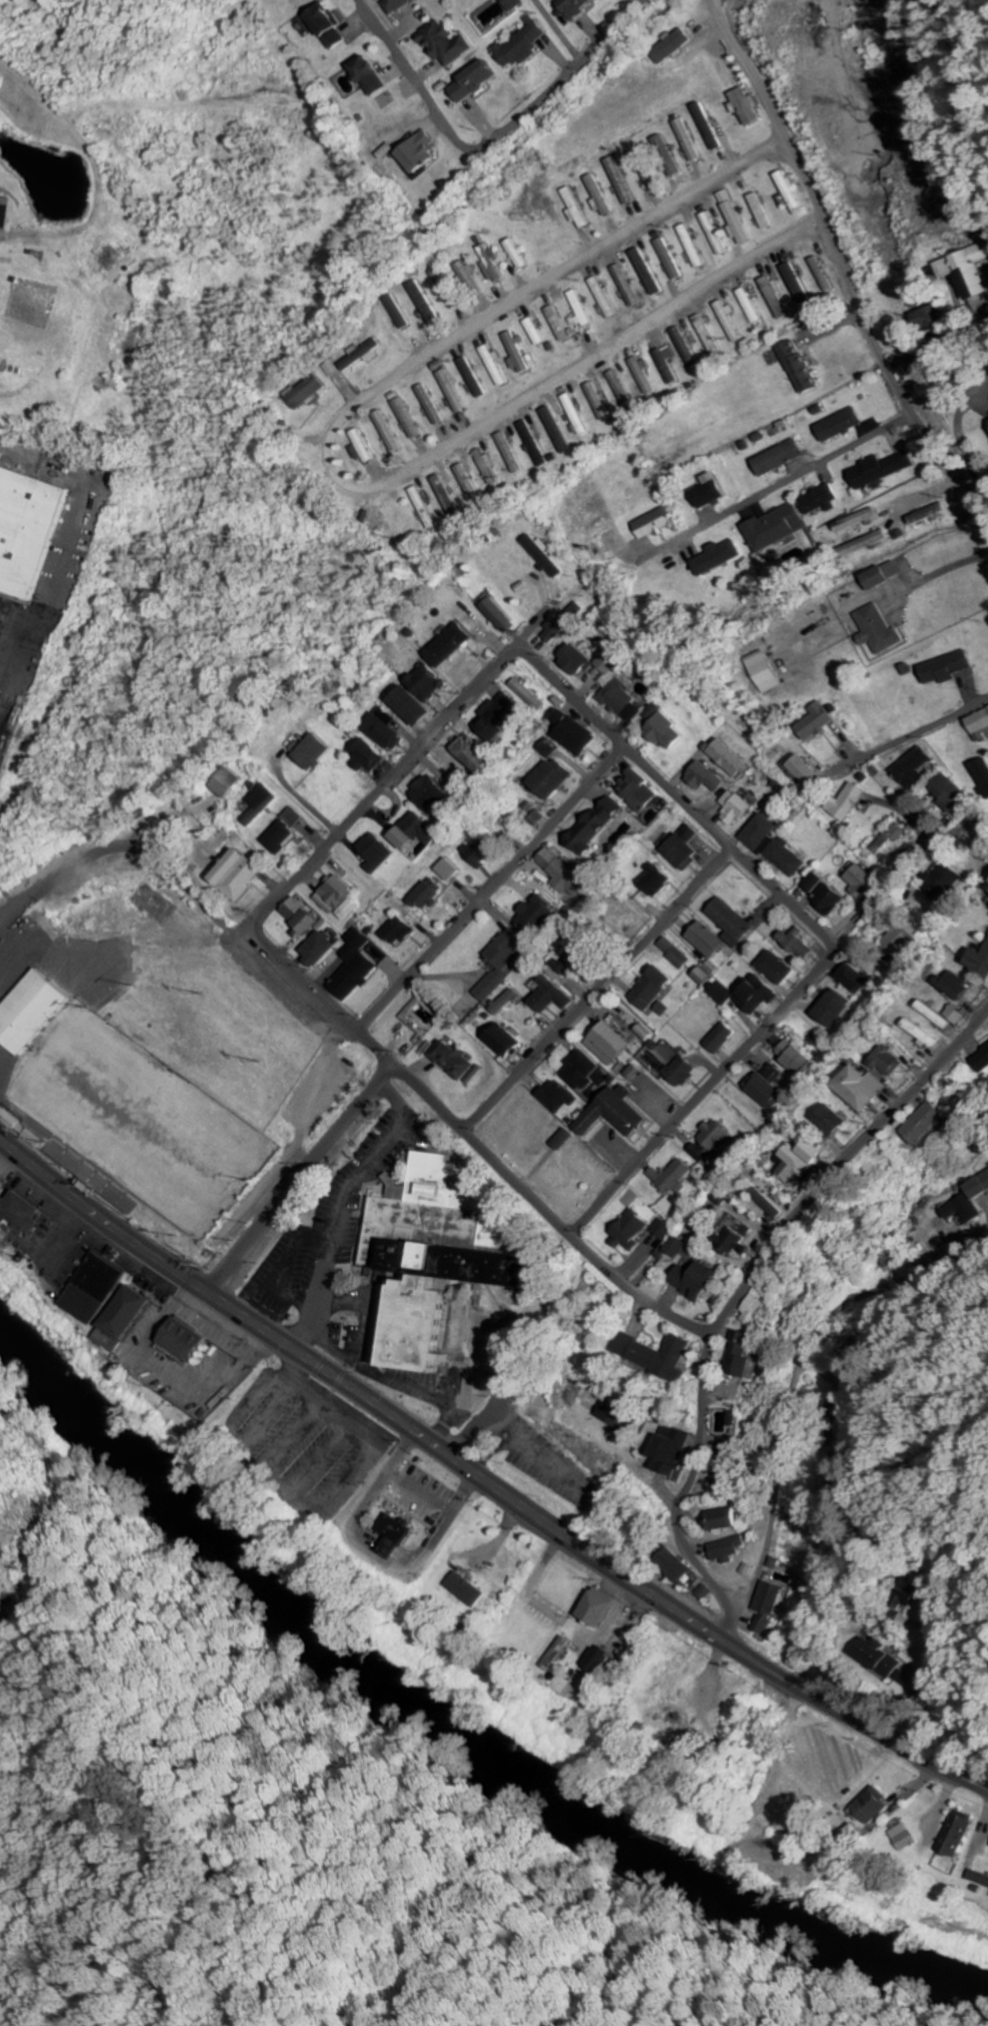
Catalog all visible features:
building: (515, 4)
building: (400, 5)
building: (578, 8)
building: (331, 26)
building: (448, 44)
building: (524, 46)
building: (676, 47)
building: (375, 77)
building: (478, 81)
building: (748, 108)
road: (511, 127)
building: (708, 128)
building: (689, 142)
building: (661, 144)
building: (425, 153)
building: (647, 171)
building: (623, 181)
building: (792, 192)
building: (600, 197)
building: (577, 208)
building: (761, 212)
building: (6, 213)
building: (736, 218)
building: (716, 235)
building: (694, 247)
building: (520, 255)
building: (671, 260)
building: (492, 265)
road: (839, 265)
building: (468, 271)
building: (967, 272)
building: (648, 273)
building: (823, 275)
building: (799, 285)
road: (535, 288)
building: (448, 291)
building: (606, 299)
building: (776, 299)
building: (751, 307)
building: (581, 309)
building: (399, 311)
building: (927, 317)
building: (729, 321)
building: (562, 327)
building: (537, 333)
building: (708, 336)
building: (686, 349)
building: (519, 354)
building: (363, 355)
building: (911, 363)
building: (668, 365)
road: (578, 367)
building: (496, 368)
building: (802, 370)
building: (473, 379)
building: (454, 392)
building: (310, 393)
building: (600, 403)
building: (432, 406)
building: (579, 416)
building: (843, 425)
building: (389, 433)
building: (363, 448)
building: (512, 454)
building: (782, 458)
building: (490, 468)
building: (884, 469)
building: (468, 481)
road: (775, 487)
building: (716, 492)
building: (822, 501)
building: (427, 509)
building: (931, 515)
building: (860, 521)
building: (657, 524)
building: (779, 528)
building: (29, 529)
building: (868, 544)
building: (545, 556)
building: (720, 559)
building: (886, 577)
building: (501, 616)
building: (567, 624)
building: (880, 632)
building: (453, 646)
building: (579, 660)
building: (612, 663)
building: (951, 669)
building: (769, 673)
building: (434, 685)
building: (535, 702)
building: (624, 702)
building: (419, 708)
building: (499, 721)
building: (819, 723)
building: (980, 723)
building: (386, 730)
building: (669, 733)
road: (915, 733)
building: (583, 741)
building: (319, 753)
building: (373, 757)
building: (476, 757)
building: (733, 760)
building: (913, 768)
building: (803, 773)
building: (982, 776)
building: (555, 779)
building: (707, 779)
road: (384, 784)
building: (232, 785)
building: (432, 794)
building: (639, 794)
building: (950, 794)
road: (677, 796)
building: (847, 803)
building: (262, 805)
building: (736, 808)
building: (598, 827)
building: (418, 833)
building: (762, 834)
building: (287, 835)
building: (686, 850)
building: (379, 853)
building: (485, 853)
building: (788, 859)
building: (449, 870)
building: (242, 875)
building: (563, 876)
building: (661, 882)
building: (815, 883)
building: (862, 884)
building: (946, 884)
road: (490, 889)
building: (431, 895)
building: (338, 896)
building: (832, 902)
building: (539, 916)
building: (305, 919)
building: (735, 922)
building: (401, 933)
building: (901, 936)
building: (709, 941)
building: (357, 945)
road: (800, 946)
building: (668, 947)
building: (800, 947)
building: (322, 950)
building: (680, 960)
building: (980, 962)
building: (501, 964)
building: (778, 969)
building: (705, 978)
building: (855, 979)
road: (597, 989)
building: (655, 989)
building: (749, 996)
building: (507, 1003)
building: (833, 1009)
building: (34, 1013)
building: (937, 1016)
building: (956, 1016)
building: (922, 1034)
building: (649, 1035)
building: (724, 1039)
road: (753, 1041)
building: (507, 1043)
building: (612, 1045)
building: (454, 1060)
building: (888, 1061)
building: (982, 1062)
building: (583, 1071)
building: (684, 1073)
building: (766, 1088)
building: (863, 1089)
building: (558, 1098)
building: (618, 1115)
building: (833, 1121)
building: (926, 1124)
park: (145, 1125)
building: (565, 1141)
road: (475, 1142)
building: (710, 1143)
building: (799, 1167)
building: (674, 1177)
road: (298, 1178)
building: (980, 1189)
building: (965, 1210)
building: (28, 1211)
building: (4, 1220)
building: (664, 1229)
building: (635, 1231)
building: (734, 1241)
building: (679, 1247)
building: (438, 1255)
building: (698, 1278)
building: (98, 1289)
road: (740, 1291)
building: (757, 1306)
building: (133, 1313)
building: (111, 1341)
building: (190, 1341)
building: (660, 1355)
building: (748, 1356)
road: (806, 1357)
building: (735, 1419)
building: (618, 1420)
building: (673, 1452)
building: (729, 1464)
road: (486, 1477)
building: (727, 1519)
building: (399, 1534)
building: (730, 1549)
building: (679, 1566)
building: (470, 1590)
road: (745, 1600)
building: (773, 1606)
building: (603, 1608)
building: (881, 1658)
building: (600, 1659)
river: (450, 1733)
building: (876, 1806)
building: (958, 1834)
building: (905, 1838)
building: (979, 1879)

